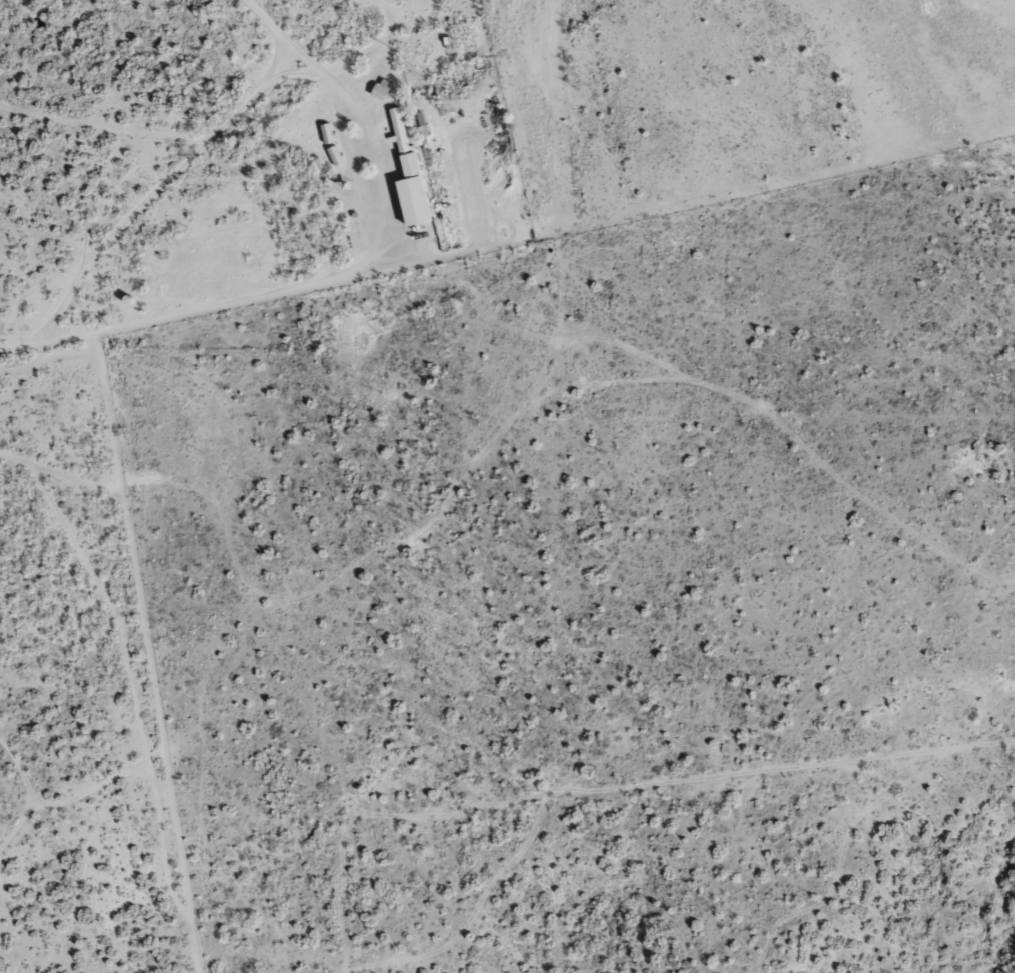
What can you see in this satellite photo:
building: (381, 86)
building: (326, 131)
building: (334, 153)
road: (205, 162)
building: (408, 174)
road: (107, 293)
road: (608, 374)

